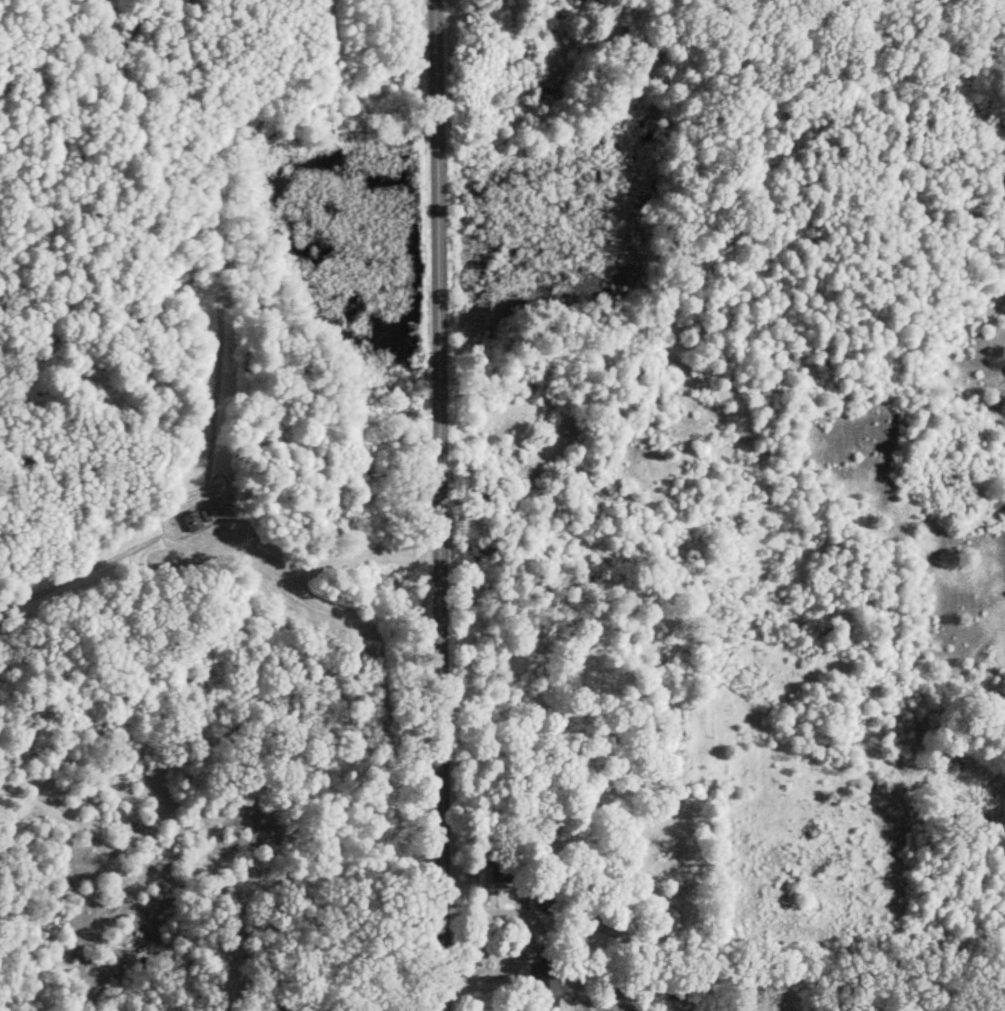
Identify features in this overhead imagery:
road: (442, 505)
building: (188, 523)
road: (331, 555)
building: (491, 873)
road: (219, 903)
road: (510, 959)
building: (538, 973)

